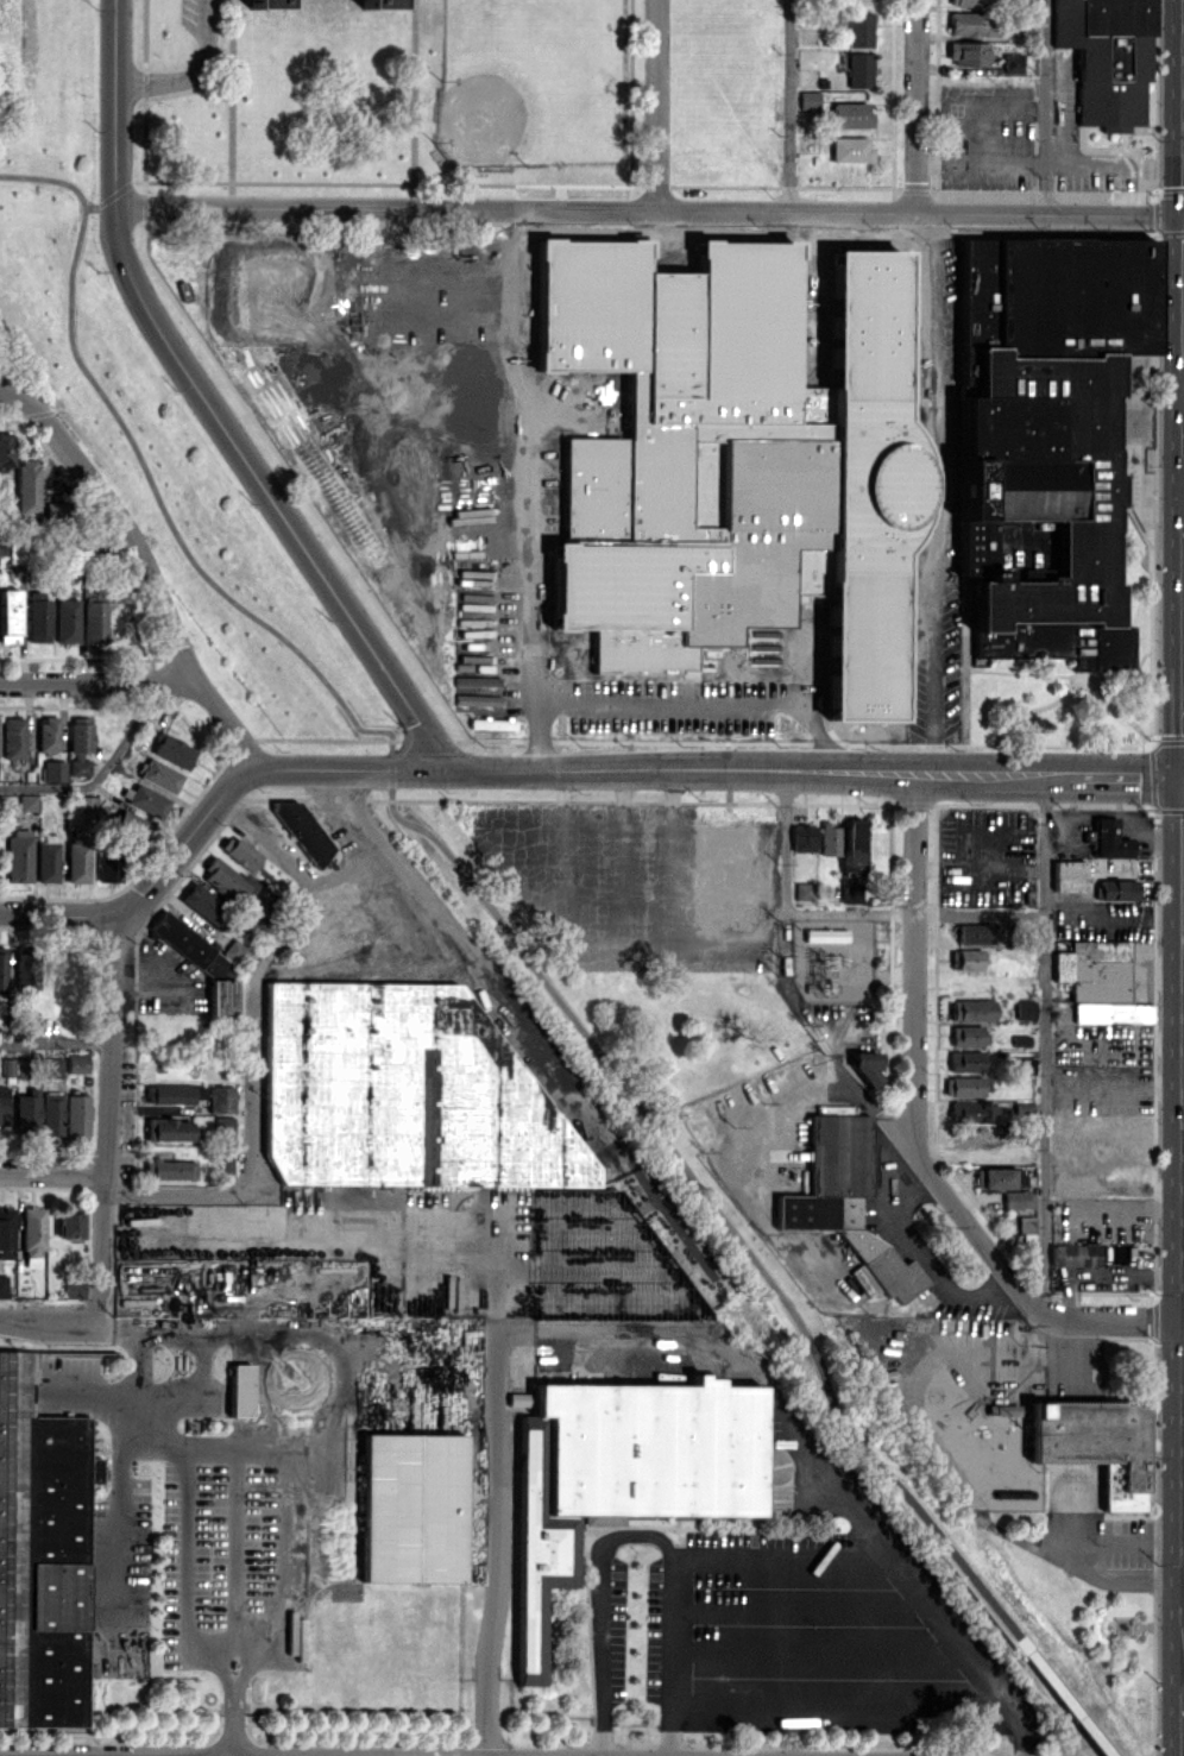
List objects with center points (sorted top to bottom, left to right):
building: (969, 2)
building: (265, 4)
building: (380, 4)
road: (208, 21)
building: (972, 23)
building: (858, 29)
building: (968, 52)
building: (1106, 58)
building: (1013, 63)
building: (859, 69)
road: (171, 80)
park: (523, 89)
road: (115, 102)
road: (656, 102)
road: (788, 102)
road: (915, 102)
road: (1046, 102)
building: (851, 114)
building: (850, 149)
road: (650, 206)
road: (5, 384)
road: (8, 391)
park: (403, 423)
building: (1038, 429)
building: (5, 449)
parking lot: (864, 477)
building: (623, 478)
building: (26, 486)
road: (530, 487)
park: (665, 489)
road: (953, 490)
road: (267, 493)
building: (53, 511)
road: (125, 527)
road: (65, 535)
building: (17, 554)
building: (8, 615)
building: (39, 616)
building: (67, 619)
building: (94, 622)
building: (477, 680)
road: (149, 682)
building: (477, 699)
road: (704, 704)
building: (491, 723)
building: (48, 734)
road: (128, 736)
building: (13, 737)
building: (80, 745)
building: (172, 750)
road: (251, 769)
building: (53, 770)
road: (817, 773)
building: (160, 775)
road: (43, 785)
building: (147, 800)
building: (26, 801)
building: (87, 804)
building: (131, 826)
building: (303, 831)
building: (802, 837)
building: (829, 838)
building: (1109, 839)
building: (851, 844)
building: (238, 851)
building: (18, 855)
building: (46, 857)
road: (670, 860)
building: (76, 861)
building: (106, 867)
building: (726, 868)
building: (1069, 875)
building: (226, 880)
road: (470, 880)
road: (785, 880)
building: (1117, 889)
building: (804, 890)
building: (850, 893)
building: (209, 904)
road: (58, 912)
road: (914, 912)
road: (1120, 915)
building: (307, 923)
building: (976, 933)
building: (825, 940)
building: (189, 945)
road: (471, 952)
building: (965, 958)
building: (2, 969)
building: (1094, 969)
building: (25, 971)
building: (221, 999)
building: (1024, 1008)
building: (971, 1009)
building: (1113, 1012)
road: (817, 1028)
building: (966, 1034)
road: (55, 1041)
road: (248, 1041)
road: (1043, 1041)
building: (964, 1059)
building: (76, 1063)
building: (1025, 1064)
building: (867, 1066)
road: (913, 1070)
building: (961, 1085)
road: (1113, 1088)
building: (401, 1091)
building: (172, 1094)
building: (220, 1099)
building: (4, 1104)
building: (1024, 1107)
building: (26, 1112)
building: (50, 1112)
building: (970, 1112)
road: (105, 1113)
building: (76, 1114)
road: (757, 1122)
building: (222, 1126)
building: (166, 1129)
building: (226, 1165)
building: (169, 1169)
road: (51, 1173)
building: (995, 1177)
building: (1018, 1198)
building: (845, 1200)
road: (1146, 1211)
building: (1025, 1223)
building: (68, 1225)
building: (32, 1229)
building: (6, 1233)
road: (919, 1251)
building: (1073, 1254)
building: (2, 1286)
building: (73, 1289)
road: (49, 1313)
road: (1116, 1321)
road: (266, 1332)
road: (134, 1386)
building: (239, 1390)
road: (202, 1398)
building: (518, 1399)
building: (1094, 1443)
road: (267, 1447)
road: (811, 1458)
building: (622, 1473)
road: (493, 1484)
road: (120, 1503)
building: (411, 1508)
road: (989, 1525)
road: (634, 1531)
road: (1183, 1537)
road: (233, 1547)
building: (42, 1555)
road: (781, 1561)
road: (1063, 1698)
road: (233, 1701)
road: (840, 1704)

